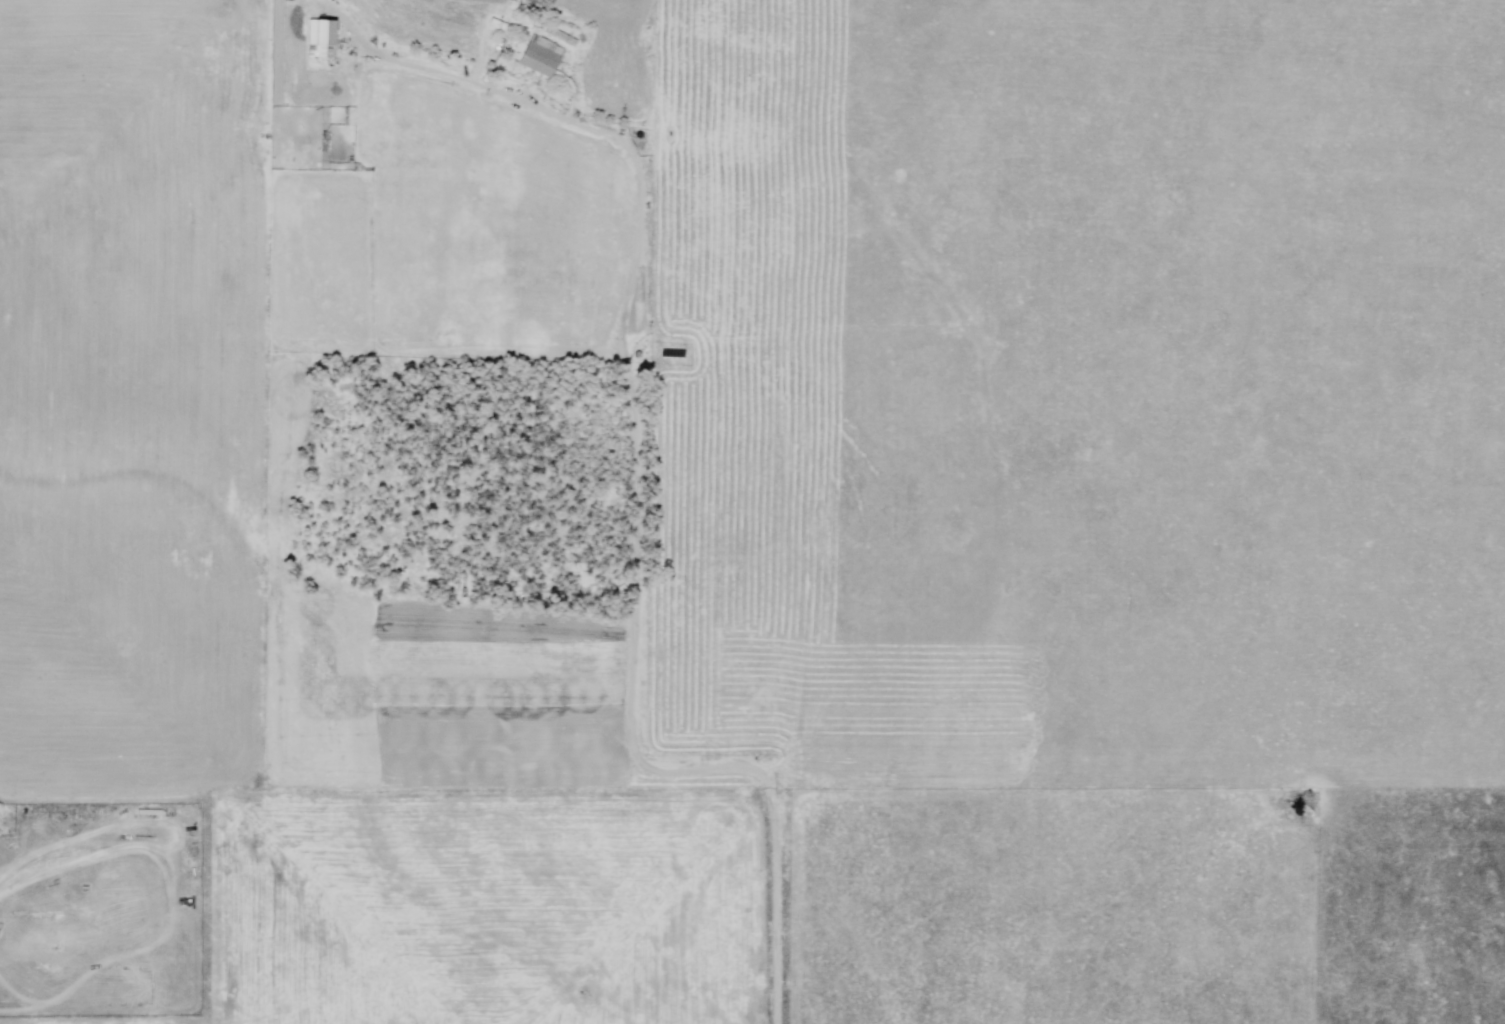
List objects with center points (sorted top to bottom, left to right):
building: (324, 39)
building: (544, 58)
road: (638, 509)

